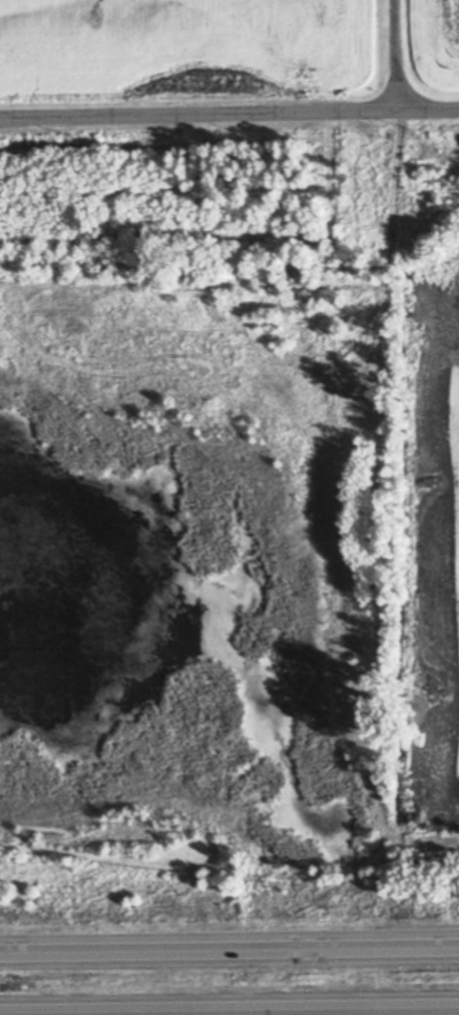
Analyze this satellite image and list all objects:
road: (396, 55)
road: (229, 113)
road: (229, 956)
road: (303, 1012)

